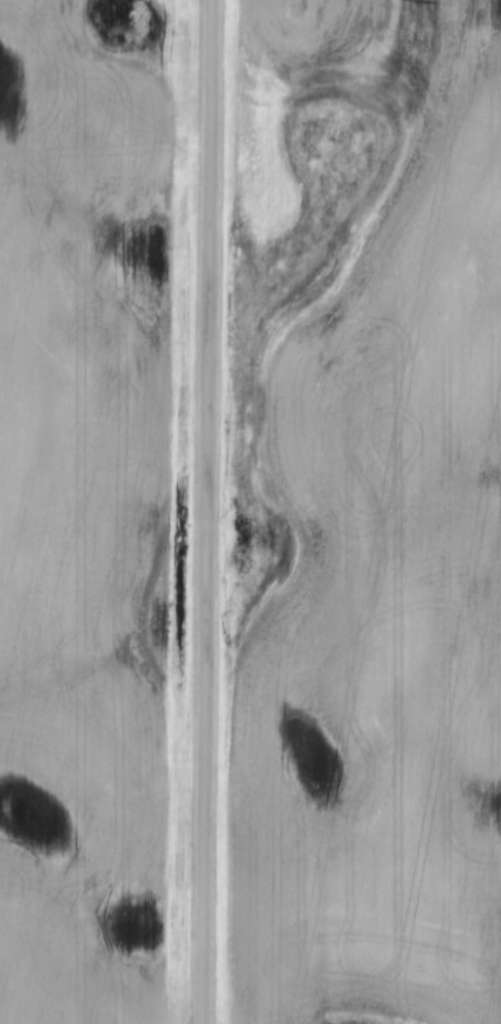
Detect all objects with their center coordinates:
road: (202, 512)

